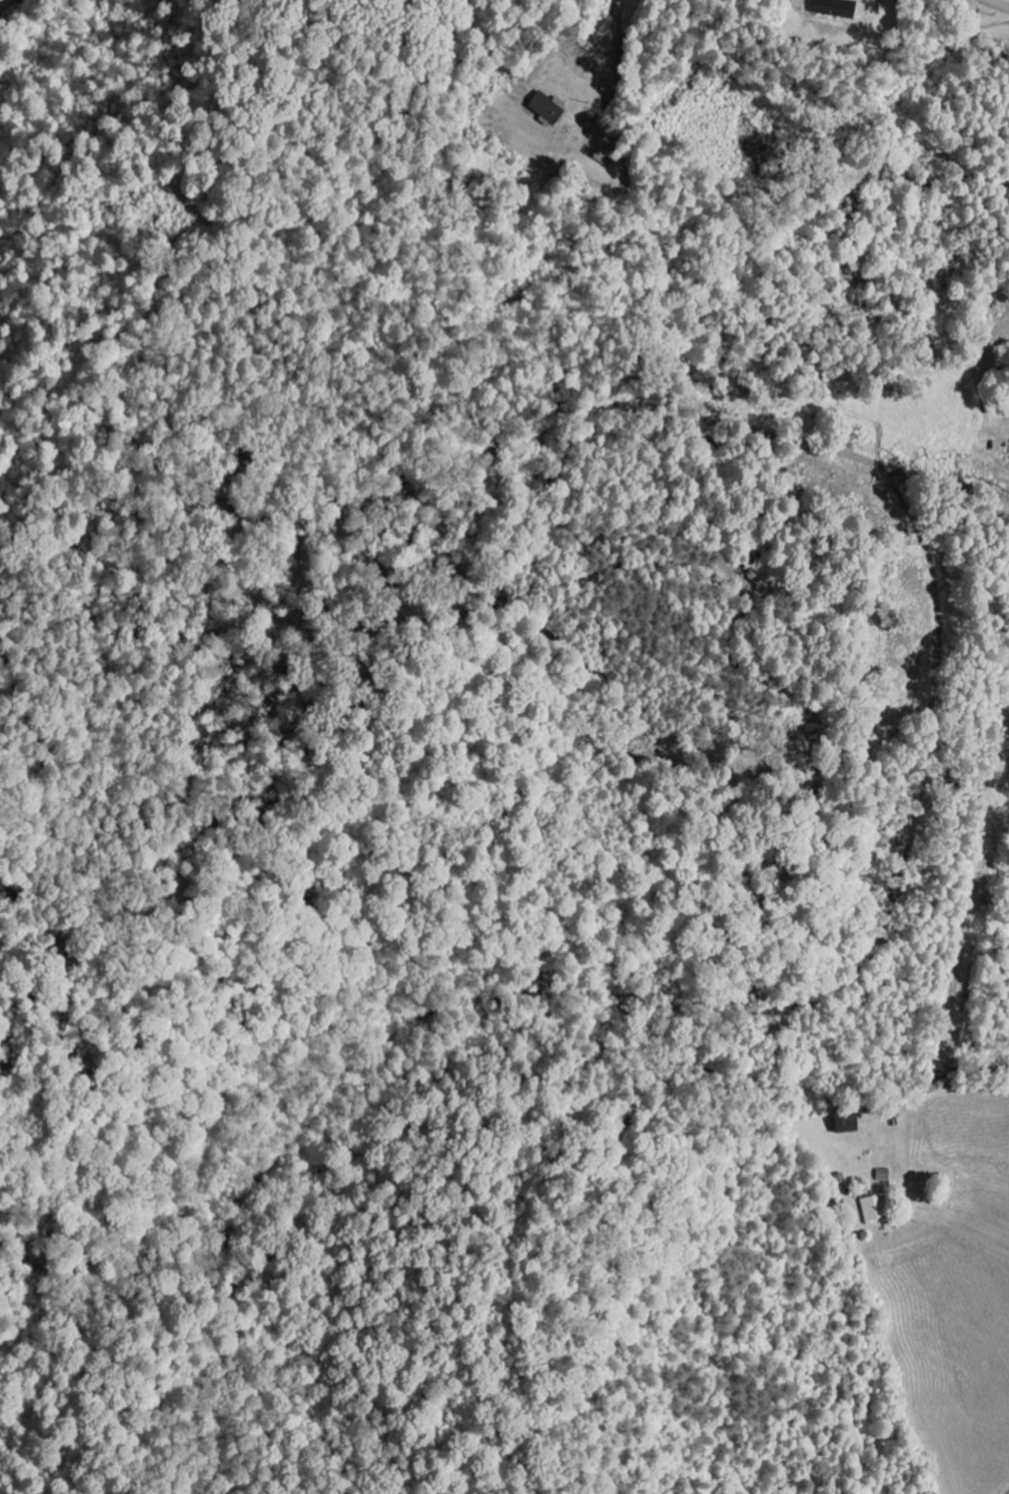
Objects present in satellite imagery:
road: (0, 0)
building: (831, 8)
building: (544, 107)
road: (965, 513)
building: (872, 1208)
road: (862, 1220)

